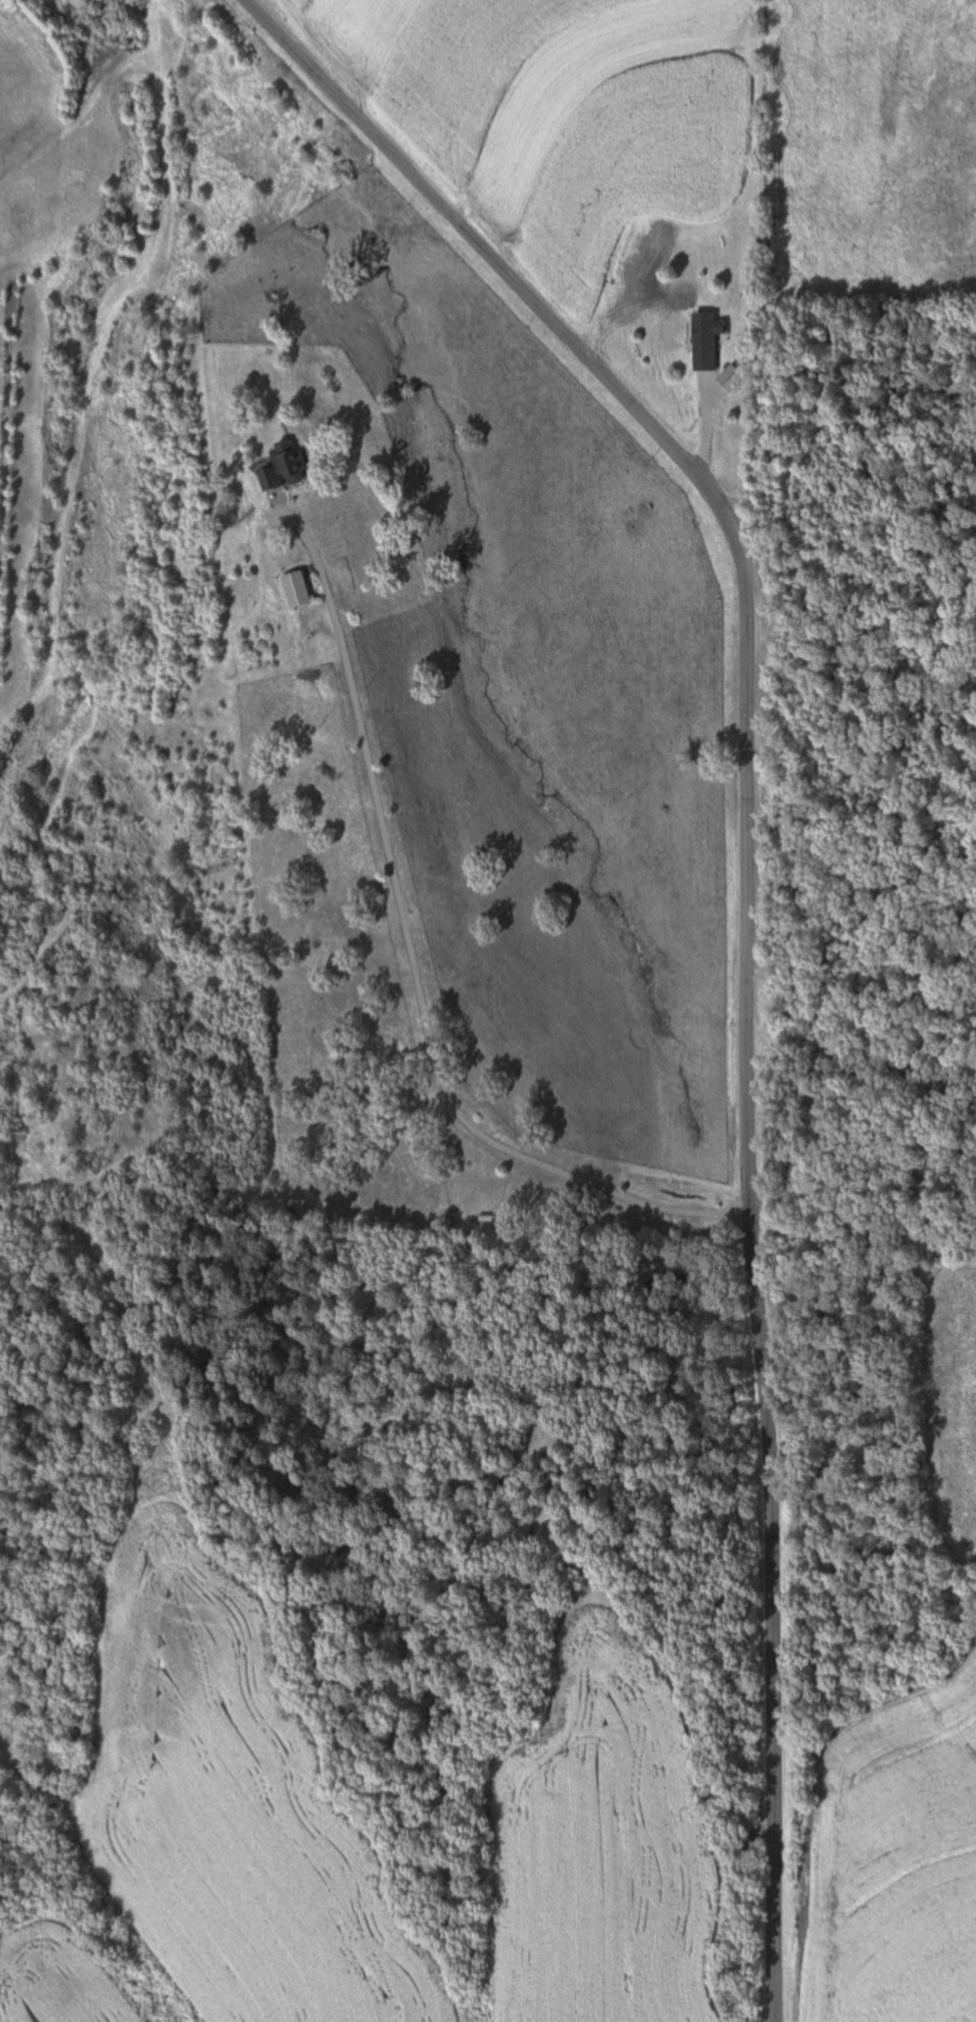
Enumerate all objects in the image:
building: (706, 340)
building: (285, 467)
building: (298, 589)
road: (750, 915)
road: (417, 981)

